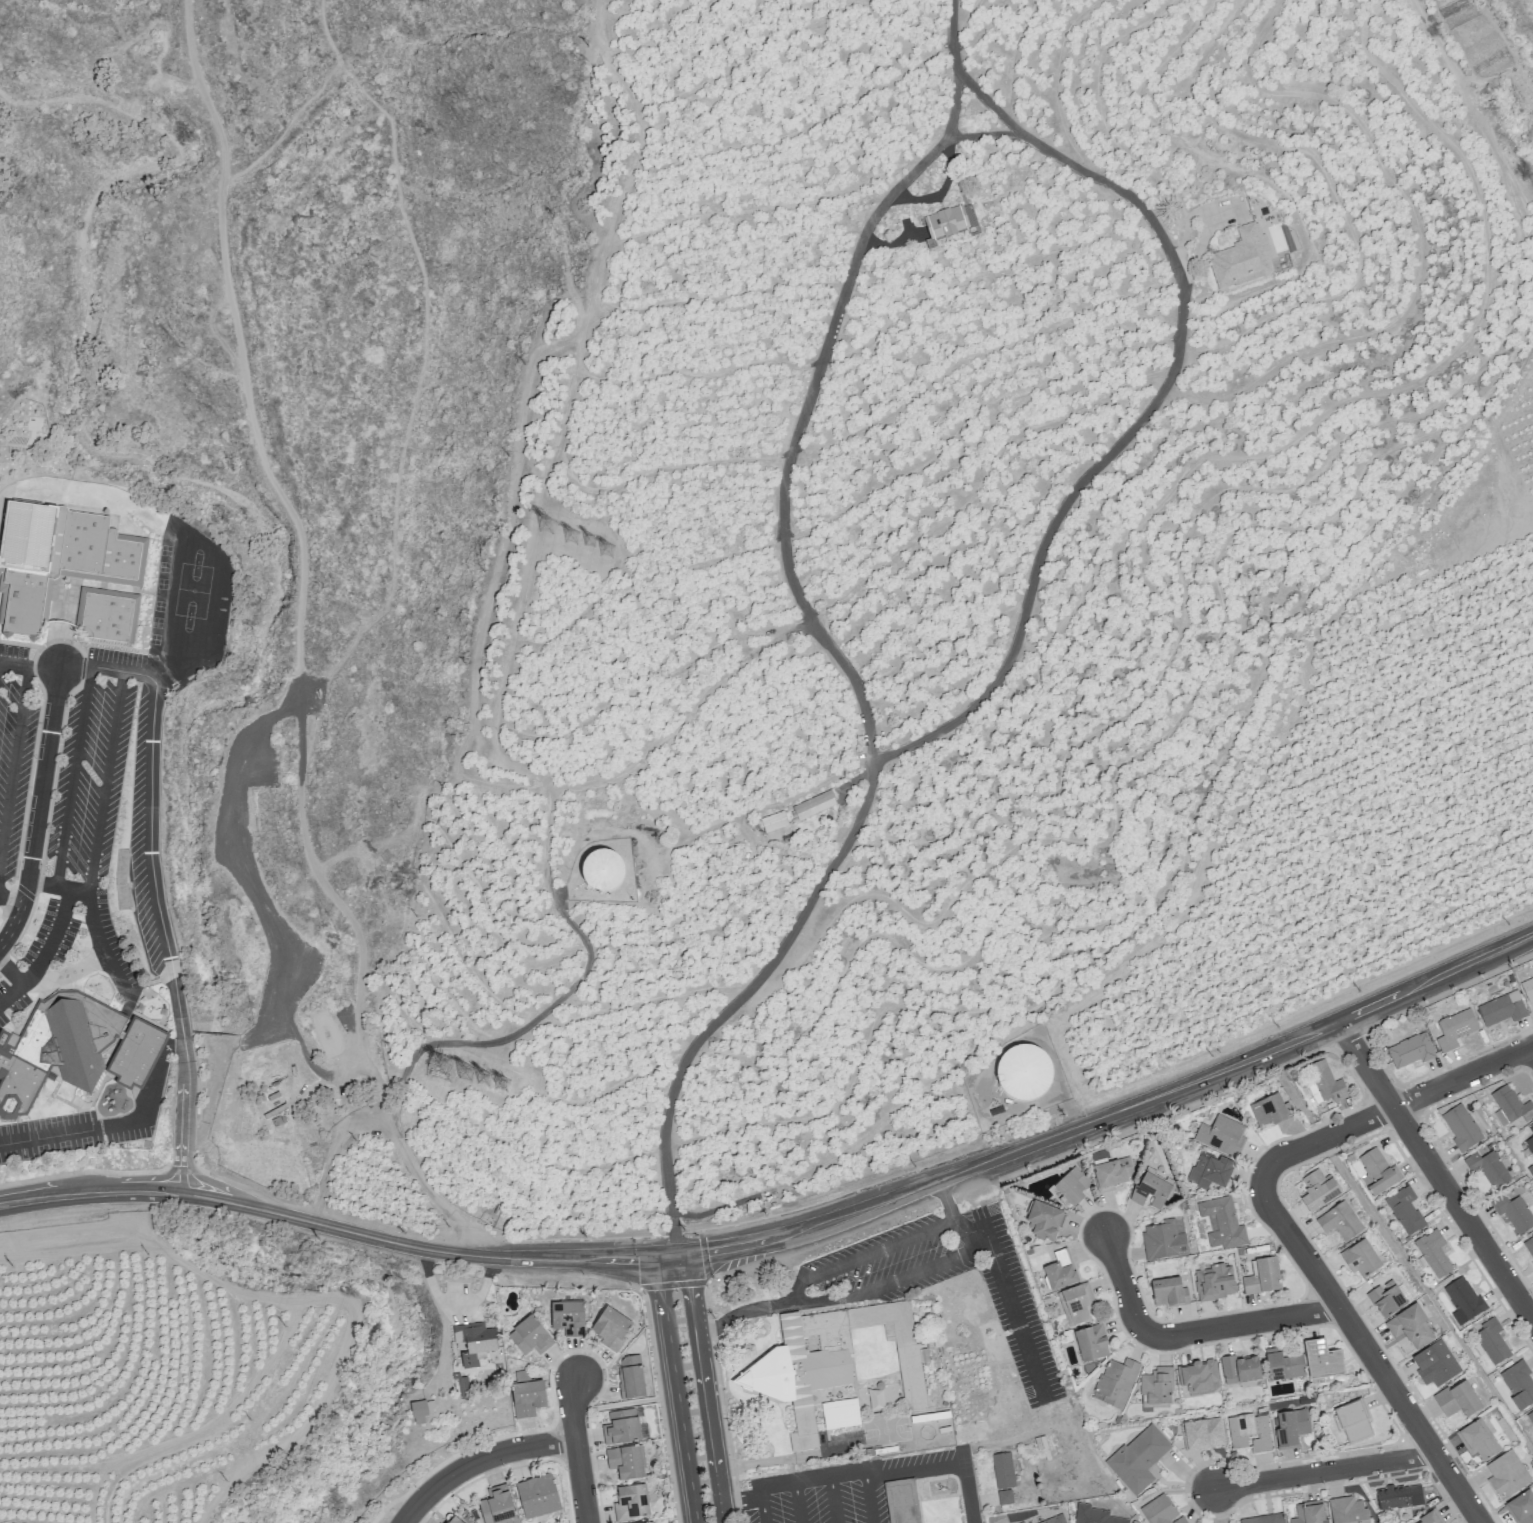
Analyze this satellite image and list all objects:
road: (169, 47)
road: (962, 75)
road: (954, 105)
building: (952, 224)
building: (1246, 259)
road: (424, 351)
road: (1173, 365)
road: (328, 371)
power tower: (547, 528)
power tower: (572, 540)
power tower: (590, 543)
power tower: (608, 552)
road: (209, 554)
road: (304, 559)
building: (61, 560)
building: (111, 616)
road: (14, 665)
road: (45, 667)
road: (14, 760)
parking lot: (98, 765)
road: (73, 776)
road: (105, 781)
building: (818, 806)
road: (40, 810)
road: (150, 813)
building: (778, 823)
building: (601, 870)
storage tank: (608, 871)
building: (120, 878)
parking lot: (261, 884)
road: (97, 930)
road: (53, 933)
road: (277, 937)
building: (1528, 988)
building: (1501, 1008)
building: (1455, 1029)
road: (1532, 1047)
building: (76, 1050)
building: (1410, 1050)
power tower: (443, 1064)
power tower: (468, 1072)
building: (1024, 1072)
power tower: (486, 1080)
power tower: (503, 1087)
building: (1329, 1090)
road: (186, 1101)
building: (1511, 1105)
road: (1391, 1108)
road: (391, 1116)
building: (1270, 1118)
building: (1461, 1126)
building: (1531, 1127)
parking lot: (75, 1130)
road: (78, 1131)
building: (1222, 1142)
building: (1530, 1144)
building: (1488, 1167)
building: (1376, 1171)
road: (1436, 1172)
road: (183, 1176)
road: (143, 1178)
building: (1211, 1178)
building: (1114, 1181)
road: (217, 1184)
road: (911, 1190)
building: (1318, 1190)
road: (140, 1192)
building: (1074, 1194)
road: (66, 1197)
building: (1152, 1198)
road: (218, 1201)
road: (17, 1203)
building: (1405, 1210)
building: (1514, 1212)
building: (1340, 1221)
building: (1047, 1228)
building: (1223, 1231)
building: (1529, 1246)
building: (1166, 1248)
traffic signals: (706, 1252)
building: (1433, 1253)
road: (866, 1254)
building: (1360, 1258)
traffic signals: (637, 1260)
building: (1059, 1275)
road: (888, 1283)
road: (1125, 1285)
building: (1266, 1285)
traffic signals: (690, 1287)
building: (1215, 1290)
building: (1386, 1298)
building: (1463, 1298)
building: (1170, 1300)
building: (1075, 1304)
road: (1015, 1317)
building: (570, 1319)
road: (1243, 1323)
building: (1409, 1326)
building: (612, 1330)
building: (475, 1338)
building: (529, 1338)
building: (1491, 1341)
building: (1091, 1342)
building: (896, 1345)
road: (1370, 1353)
building: (803, 1356)
building: (1435, 1364)
building: (1325, 1366)
building: (1239, 1369)
building: (1286, 1374)
building: (1197, 1378)
building: (630, 1380)
building: (1116, 1381)
building: (1518, 1383)
building: (1156, 1386)
road: (704, 1389)
road: (677, 1390)
building: (1457, 1399)
road: (615, 1404)
road: (660, 1405)
building: (530, 1406)
road: (572, 1407)
building: (419, 1411)
building: (840, 1413)
building: (1530, 1417)
building: (1353, 1430)
building: (625, 1431)
building: (1293, 1436)
building: (1477, 1439)
building: (1250, 1440)
building: (1203, 1441)
road: (464, 1451)
building: (1138, 1458)
road: (477, 1459)
building: (629, 1462)
road: (945, 1463)
park: (426, 1472)
road: (1326, 1472)
road: (821, 1474)
building: (1507, 1474)
road: (582, 1480)
building: (1005, 1485)
road: (743, 1502)
building: (539, 1503)
building: (635, 1504)
building: (902, 1504)
building: (1401, 1505)
building: (1522, 1508)
building: (499, 1511)
building: (1348, 1514)
building: (1158, 1515)
building: (1311, 1517)
building: (1089, 1518)
building: (453, 1520)
building: (1433, 1521)
building: (650, 1522)
building: (655, 1522)
building: (1022, 1522)
building: (1060, 1522)
building: (1281, 1522)

